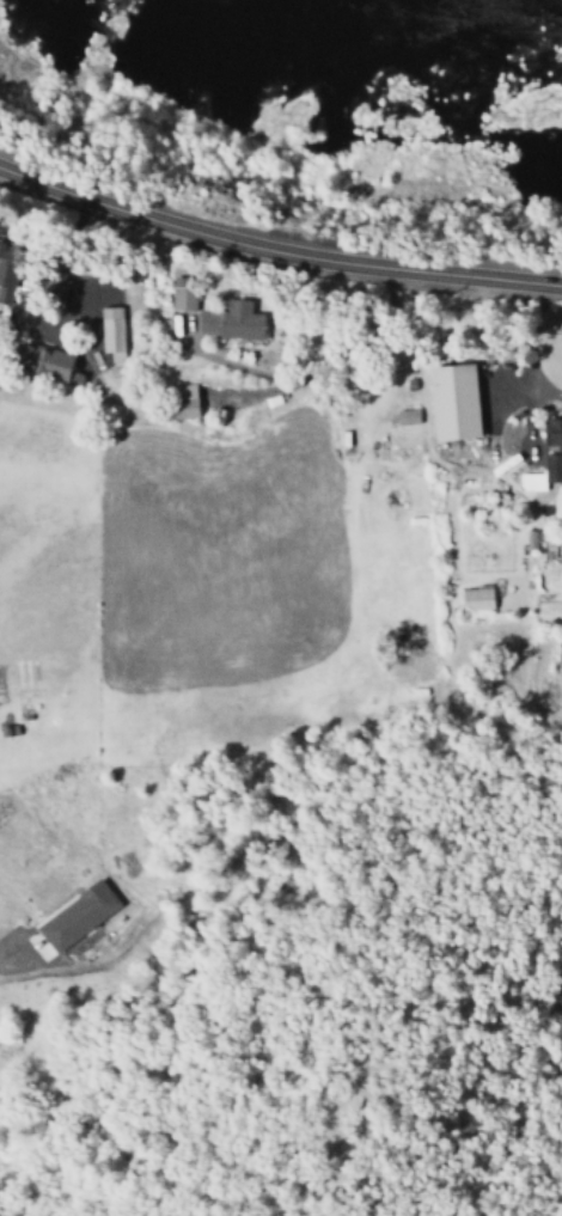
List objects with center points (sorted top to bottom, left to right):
river: (373, 42)
road: (275, 246)
building: (181, 297)
building: (230, 323)
building: (109, 331)
building: (45, 365)
building: (452, 403)
building: (182, 409)
building: (405, 417)
building: (552, 434)
building: (543, 475)
building: (475, 598)
building: (75, 916)

